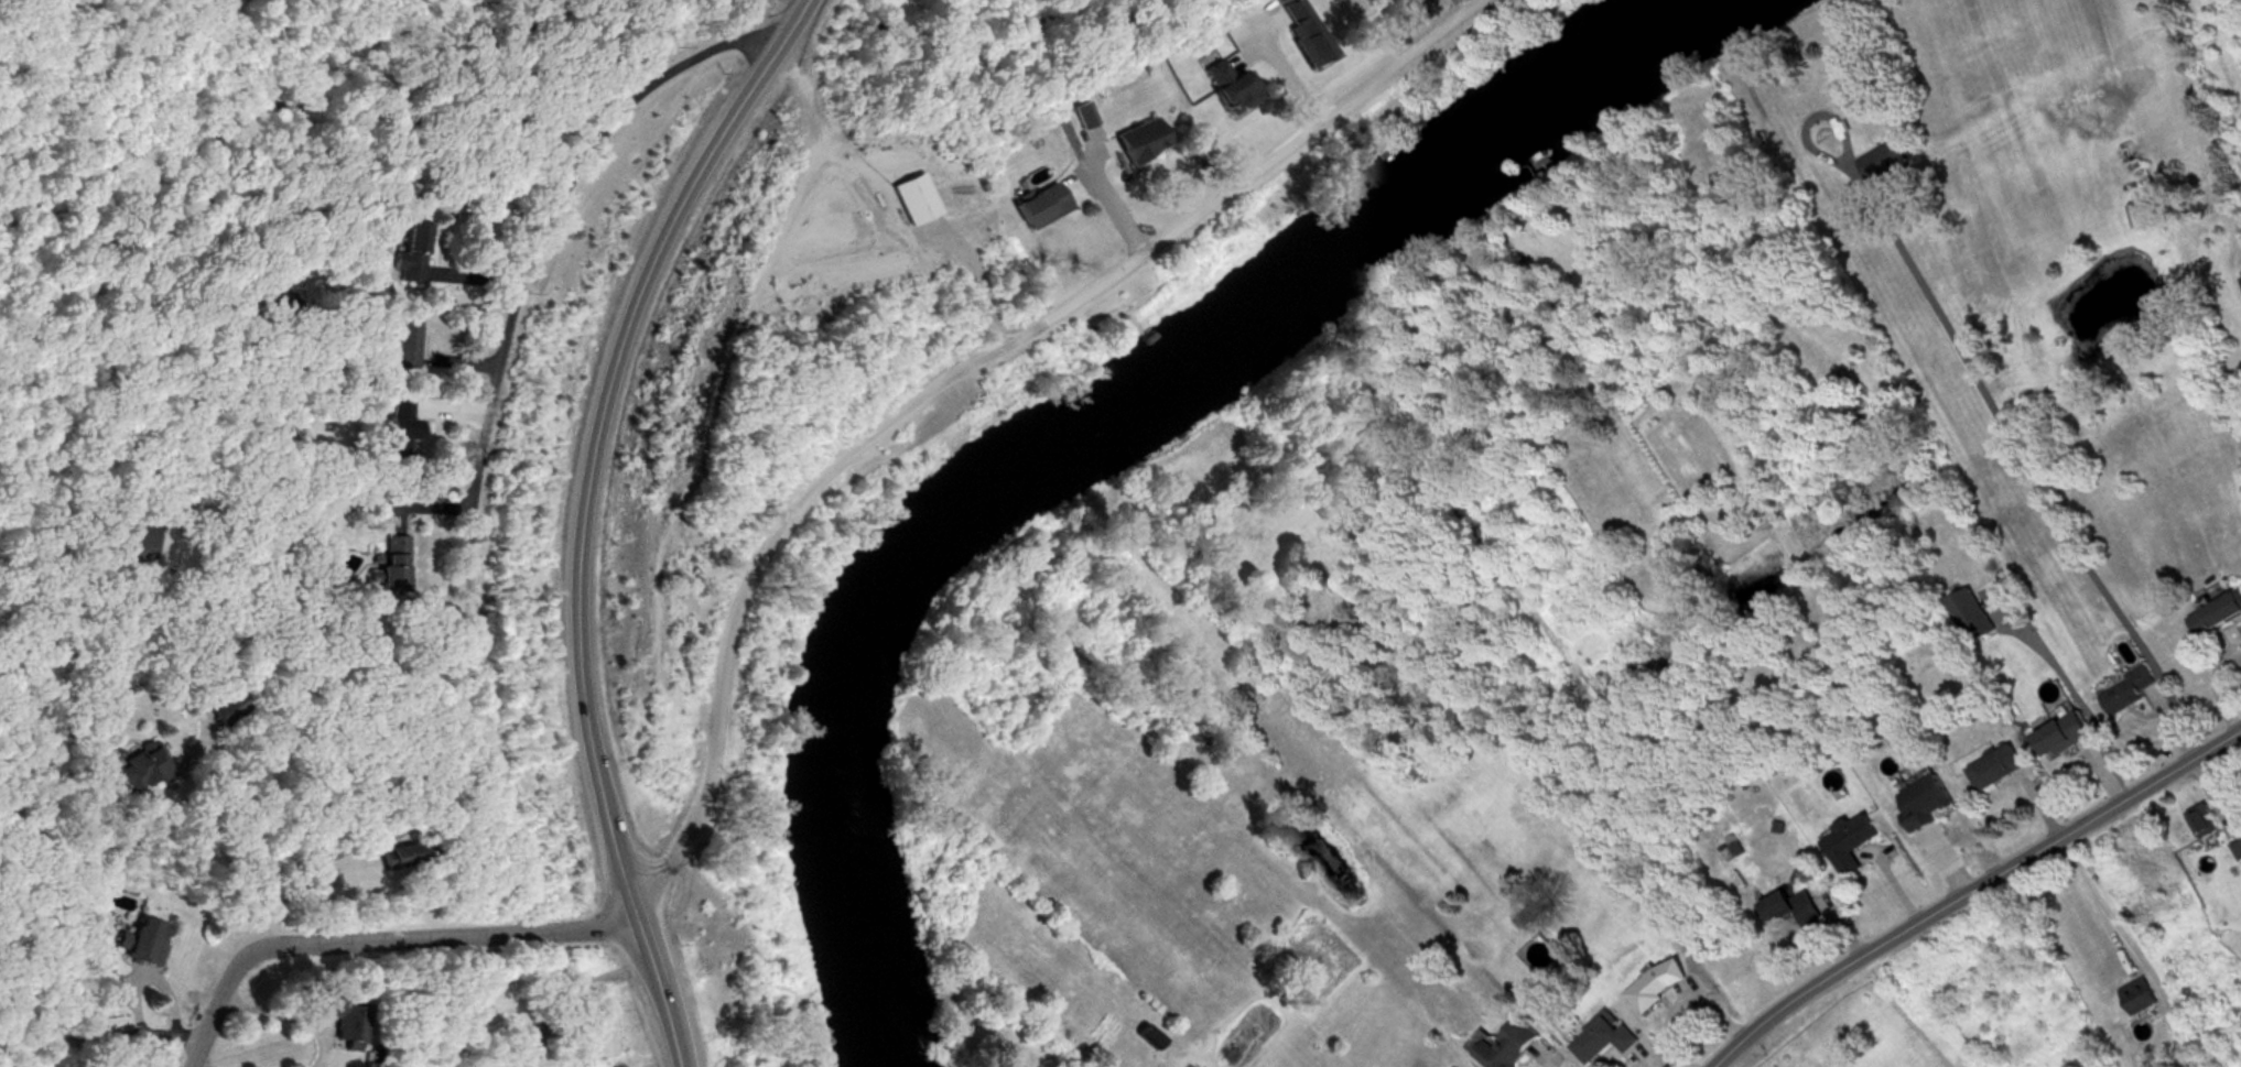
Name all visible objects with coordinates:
building: (1228, 89)
building: (1080, 117)
building: (1138, 143)
building: (1881, 164)
building: (1038, 208)
road: (1116, 213)
road: (545, 219)
building: (412, 254)
building: (278, 297)
building: (407, 346)
road: (959, 378)
river: (1040, 424)
road: (594, 428)
building: (402, 432)
road: (2024, 460)
building: (144, 531)
building: (394, 566)
building: (2217, 618)
building: (1977, 625)
building: (2129, 693)
building: (228, 710)
building: (2063, 738)
building: (1996, 770)
building: (145, 771)
building: (1924, 798)
building: (2204, 823)
road: (242, 834)
building: (1850, 845)
building: (2238, 850)
building: (394, 860)
road: (295, 885)
road: (1969, 889)
building: (1791, 910)
road: (373, 938)
road: (2142, 944)
building: (142, 945)
road: (151, 980)
road: (650, 981)
building: (1659, 984)
building: (108, 992)
building: (2141, 1001)
road: (286, 1019)
building: (332, 1020)
building: (1604, 1039)
road: (99, 1041)
building: (1511, 1046)
road: (1539, 1059)
road: (198, 1061)

